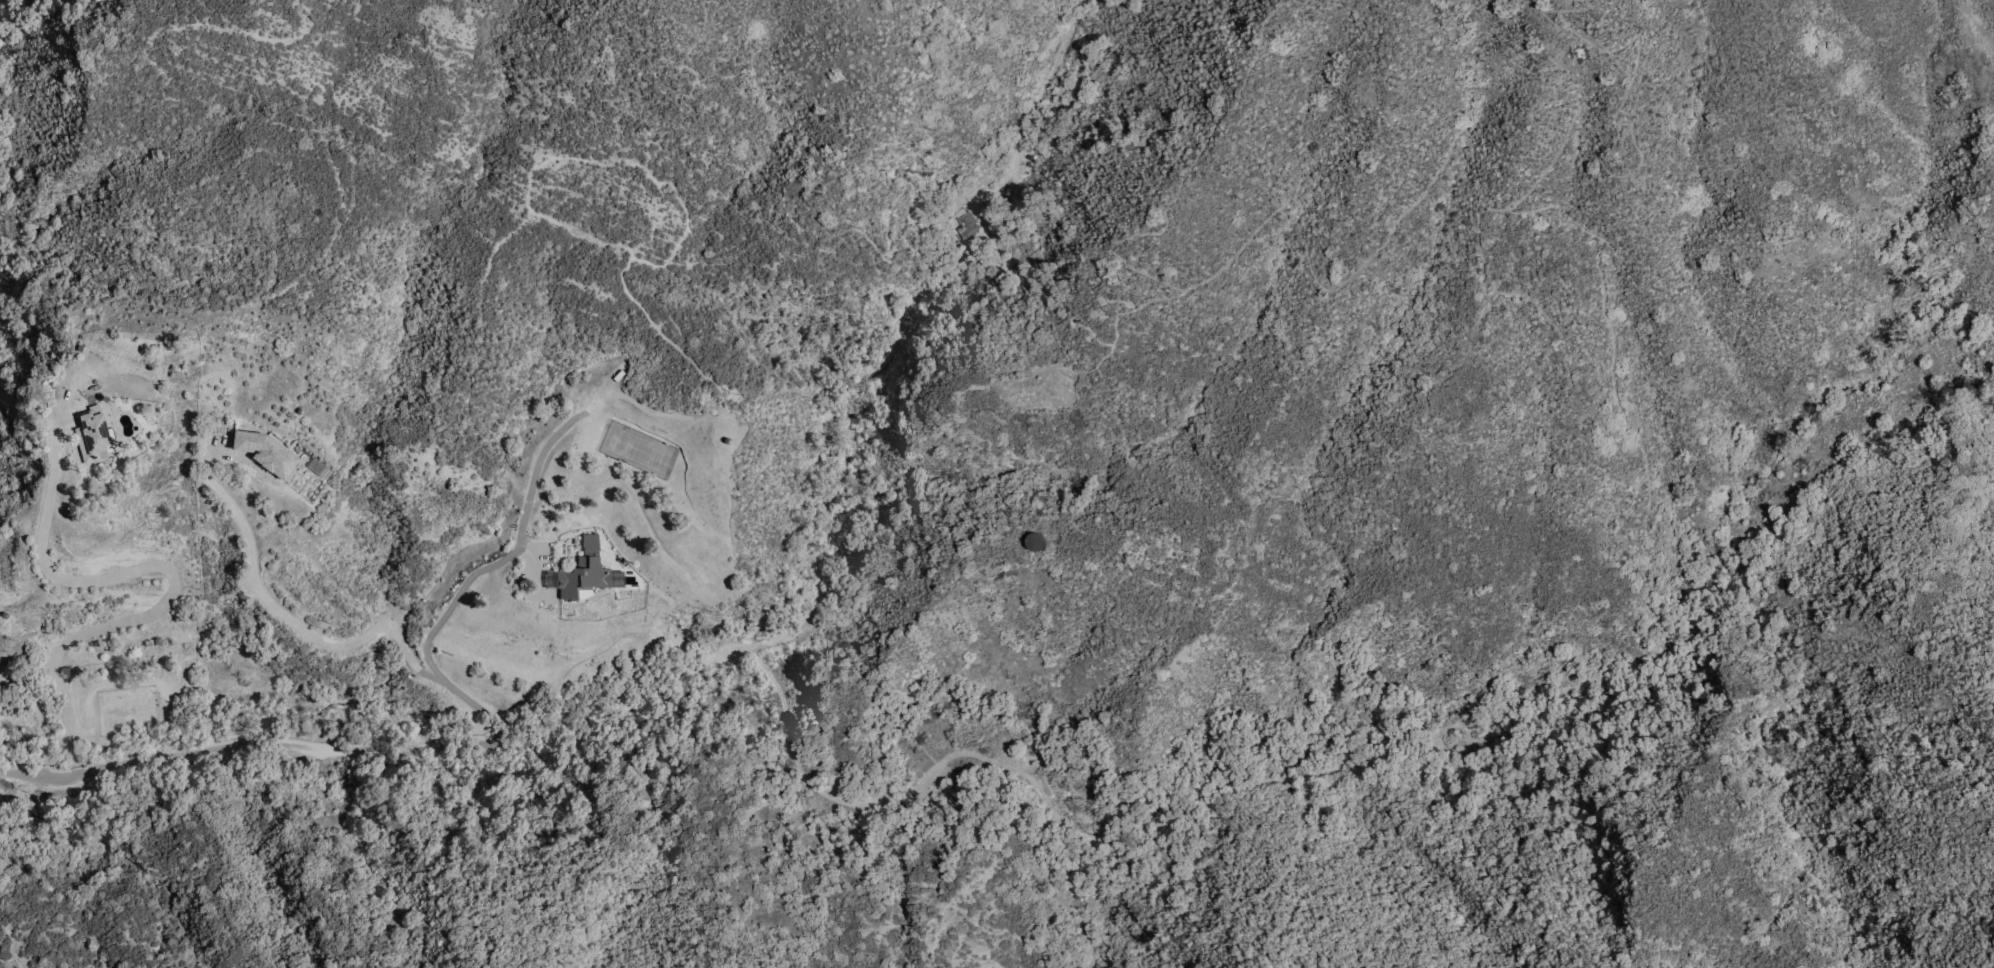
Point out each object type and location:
building: (963, 226)
building: (93, 436)
park: (620, 443)
park: (638, 450)
building: (265, 453)
road: (834, 453)
building: (316, 468)
road: (535, 470)
building: (1037, 542)
road: (163, 571)
building: (584, 572)
building: (583, 593)
road: (456, 597)
road: (320, 641)
road: (245, 748)

